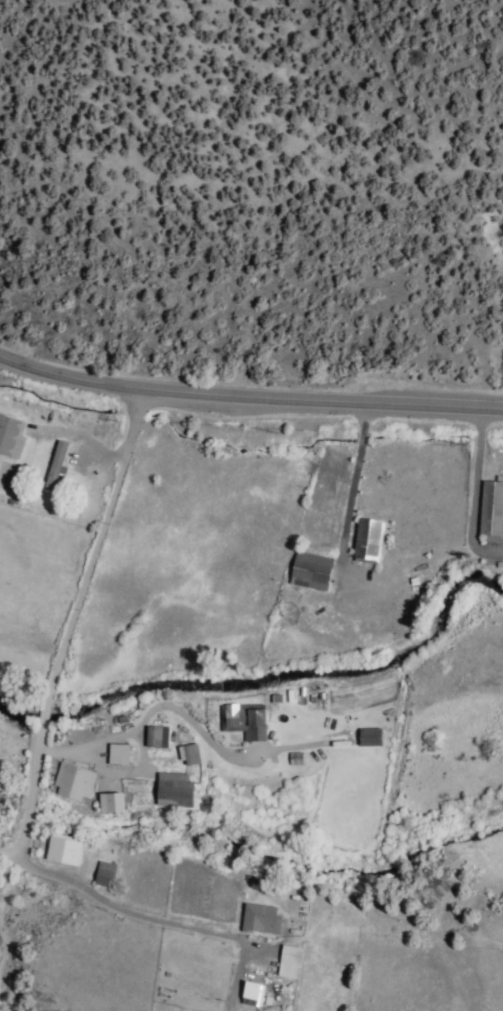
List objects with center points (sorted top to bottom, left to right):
road: (249, 395)
building: (10, 436)
building: (54, 464)
building: (491, 512)
building: (367, 539)
road: (90, 543)
building: (310, 570)
river: (271, 678)
road: (41, 714)
building: (244, 720)
building: (156, 736)
building: (368, 737)
building: (117, 754)
building: (189, 754)
building: (295, 758)
building: (73, 782)
building: (173, 790)
road: (24, 796)
building: (109, 802)
building: (63, 848)
building: (103, 873)
road: (74, 883)
road: (151, 887)
building: (259, 918)
building: (288, 961)
building: (251, 993)

